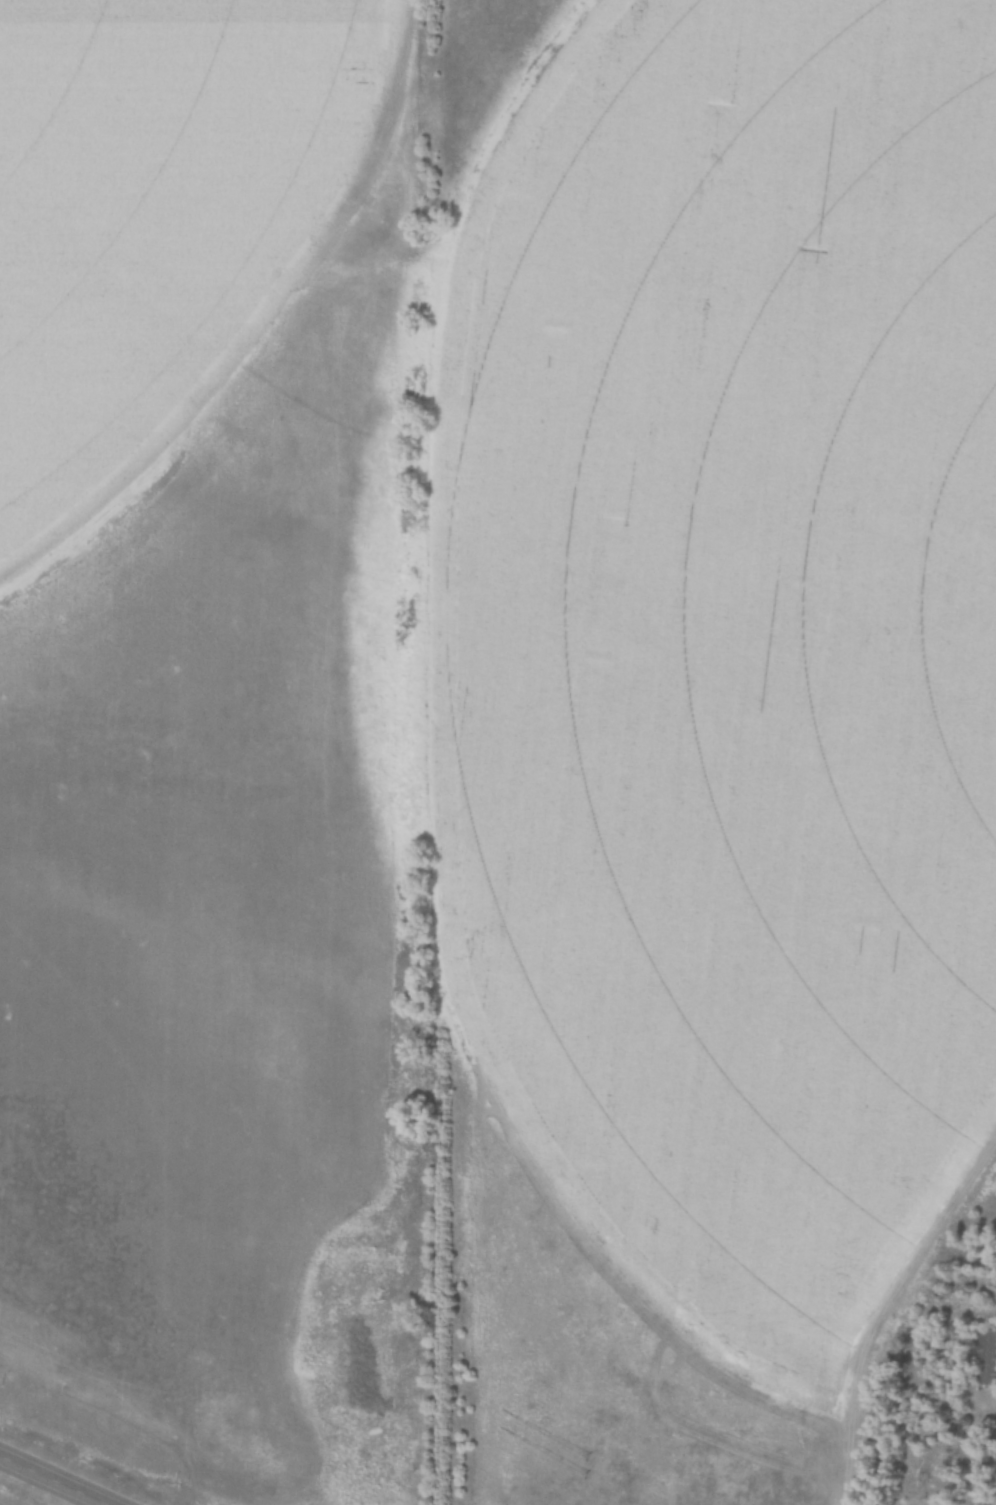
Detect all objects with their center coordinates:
crop: (725, 633)
building: (980, 1355)
road: (56, 1479)

